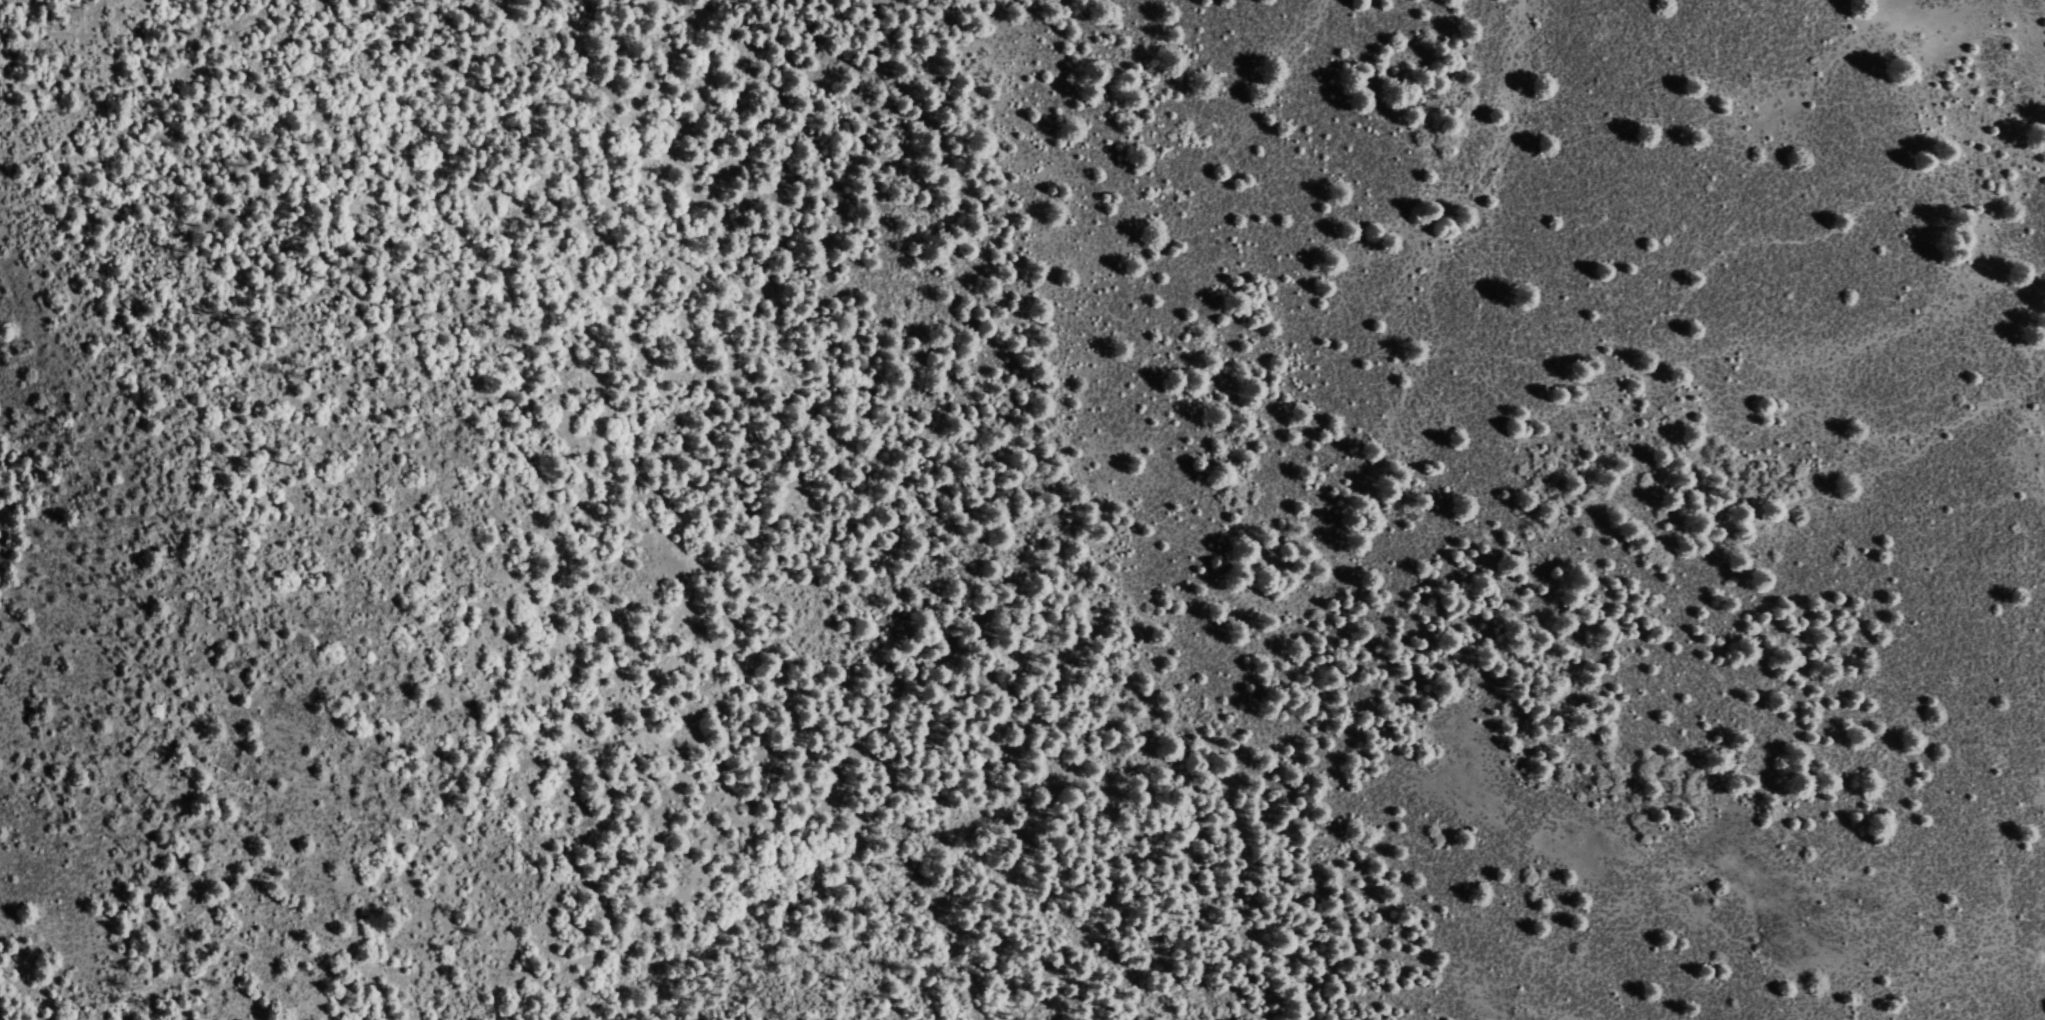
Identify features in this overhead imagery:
crop: (2039, 886)

